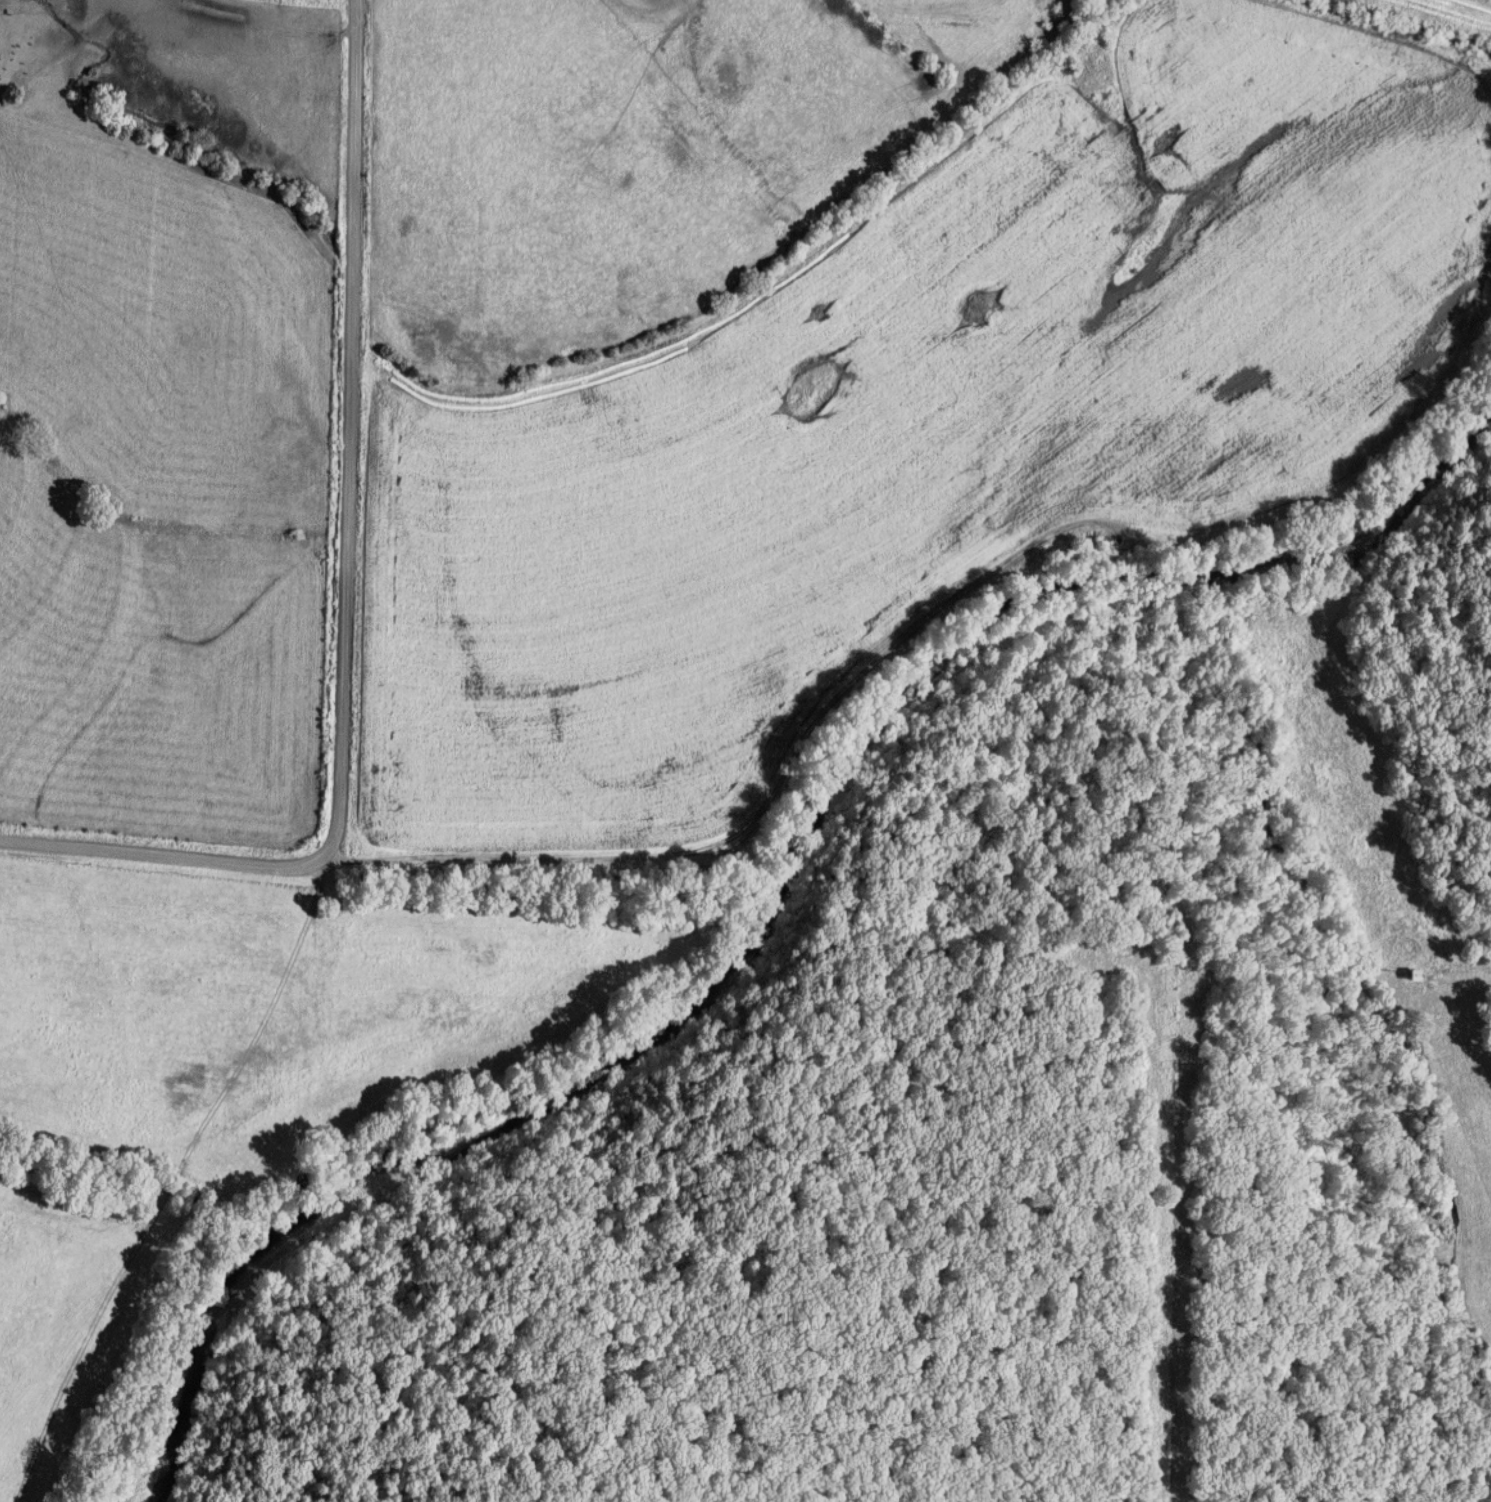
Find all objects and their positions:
road: (346, 595)

